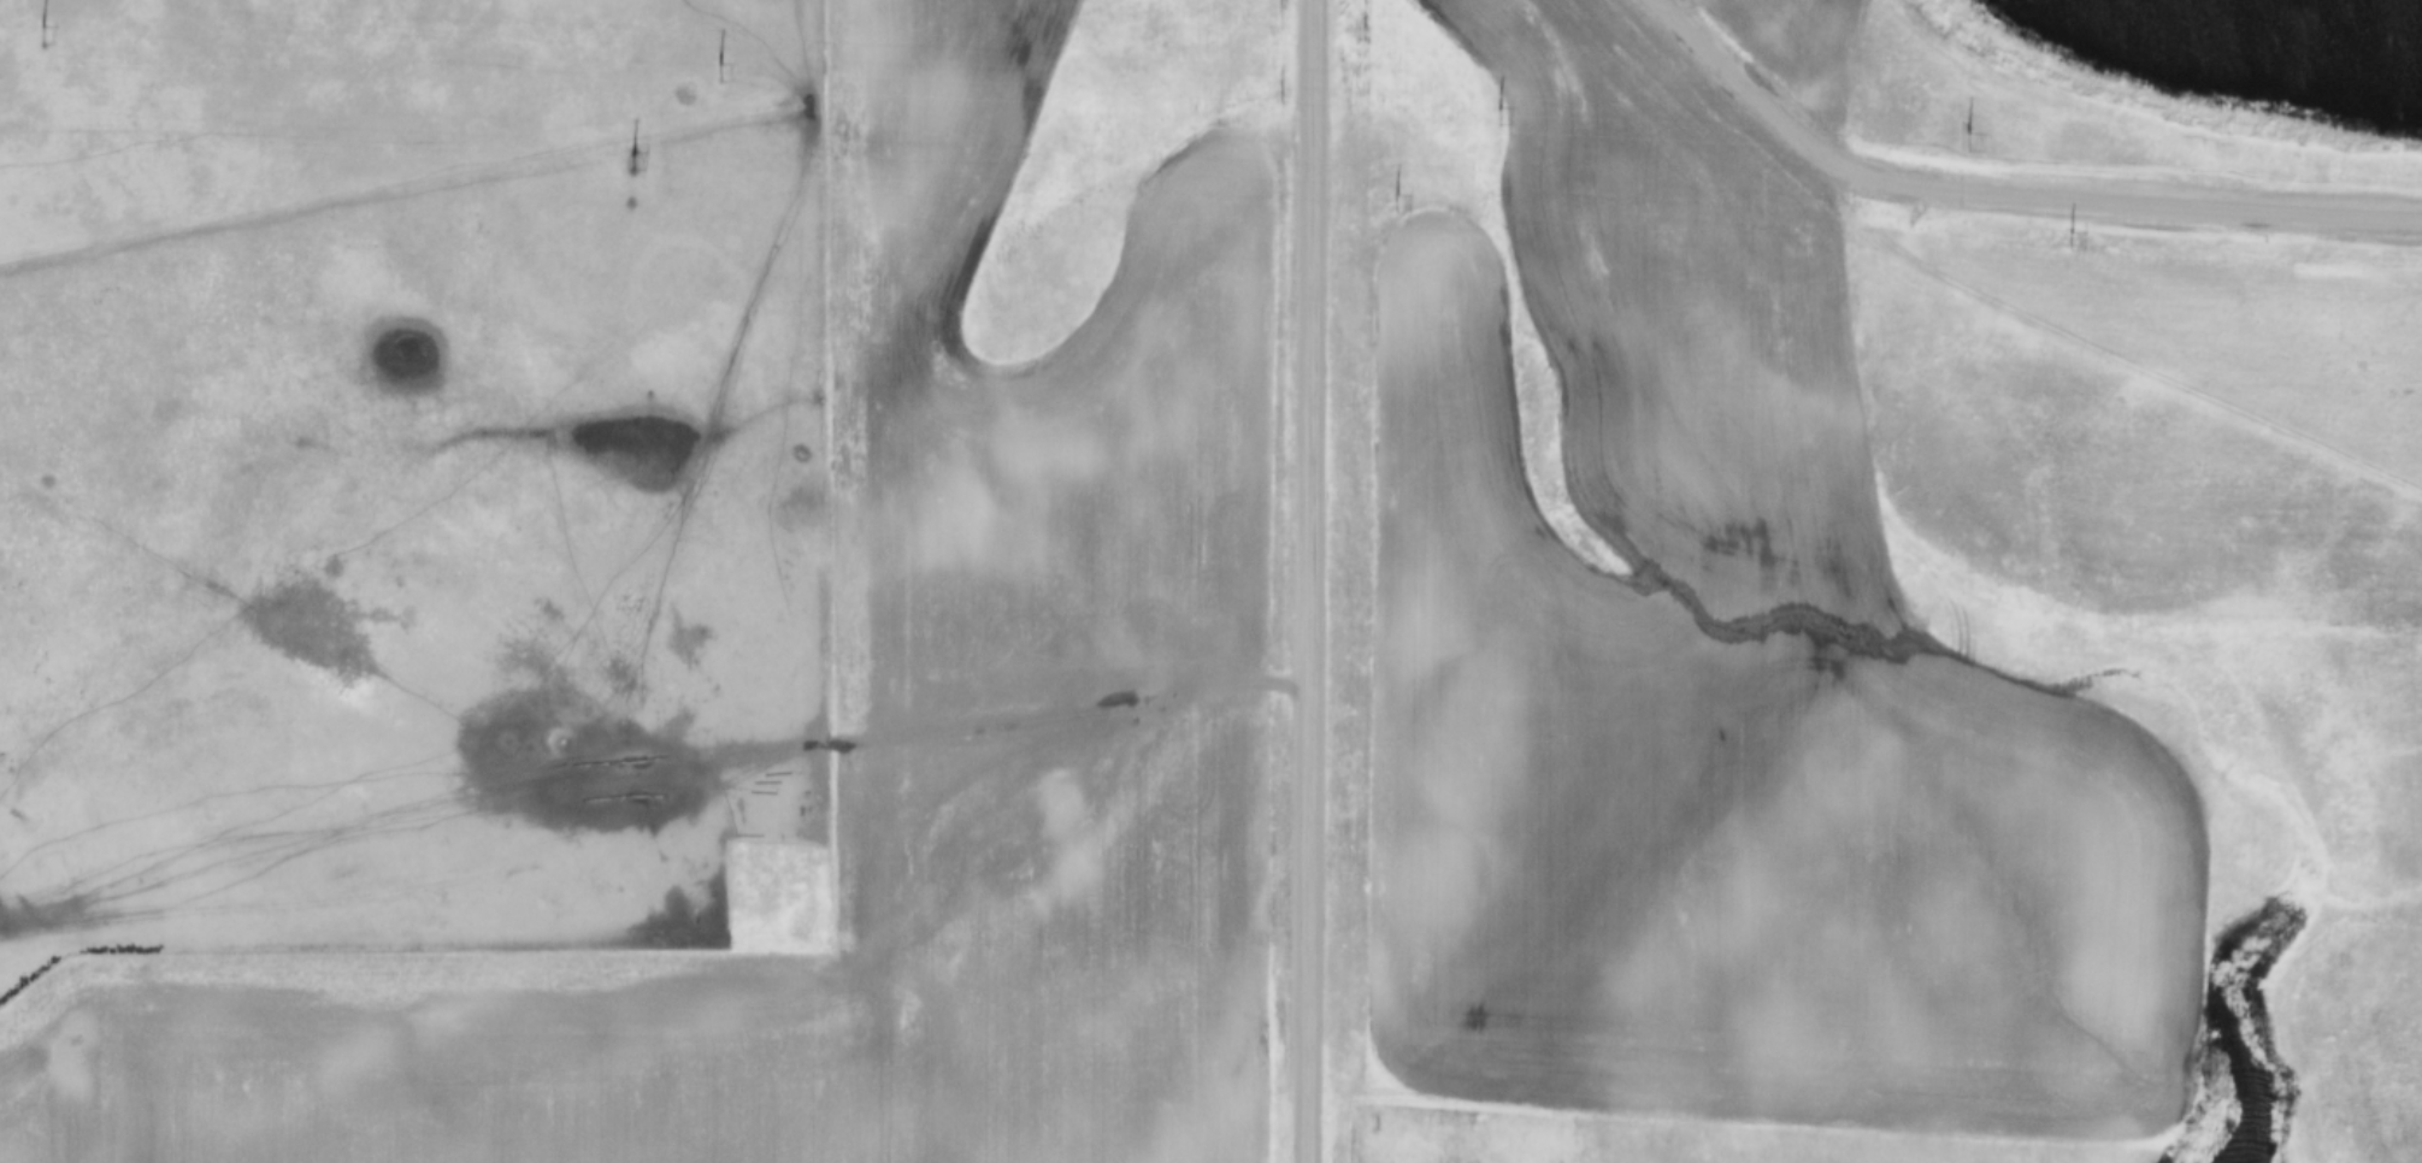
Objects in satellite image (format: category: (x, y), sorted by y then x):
road: (1762, 129)
power tower: (634, 163)
power tower: (1392, 208)
power tower: (2068, 242)
road: (1312, 581)
road: (688, 939)
building: (60, 1051)

